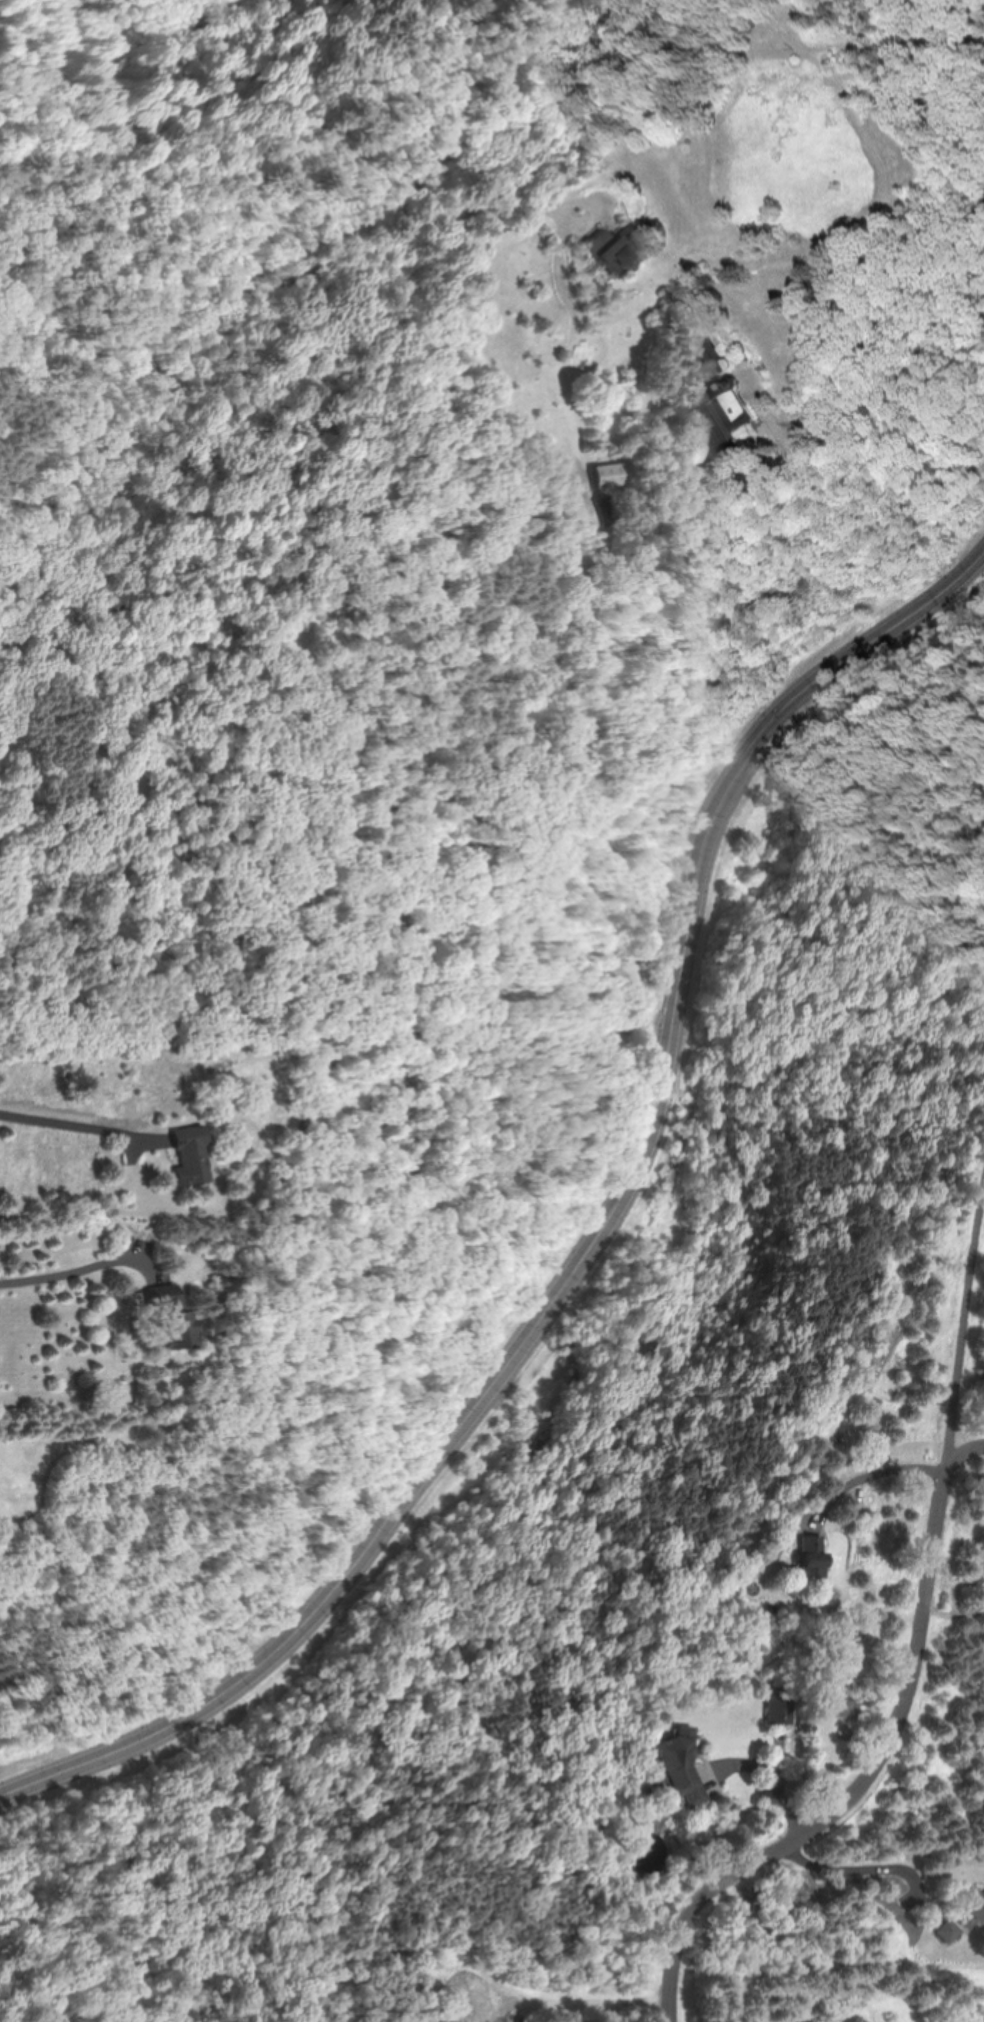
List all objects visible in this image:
building: (613, 244)
road: (887, 308)
building: (724, 386)
building: (604, 475)
road: (79, 1139)
building: (191, 1155)
road: (594, 1247)
road: (70, 1281)
building: (171, 1322)
road: (966, 1450)
road: (866, 1474)
building: (806, 1559)
road: (914, 1657)
building: (777, 1705)
building: (676, 1766)
road: (772, 1773)
road: (866, 1868)
building: (974, 1903)
building: (945, 1932)

